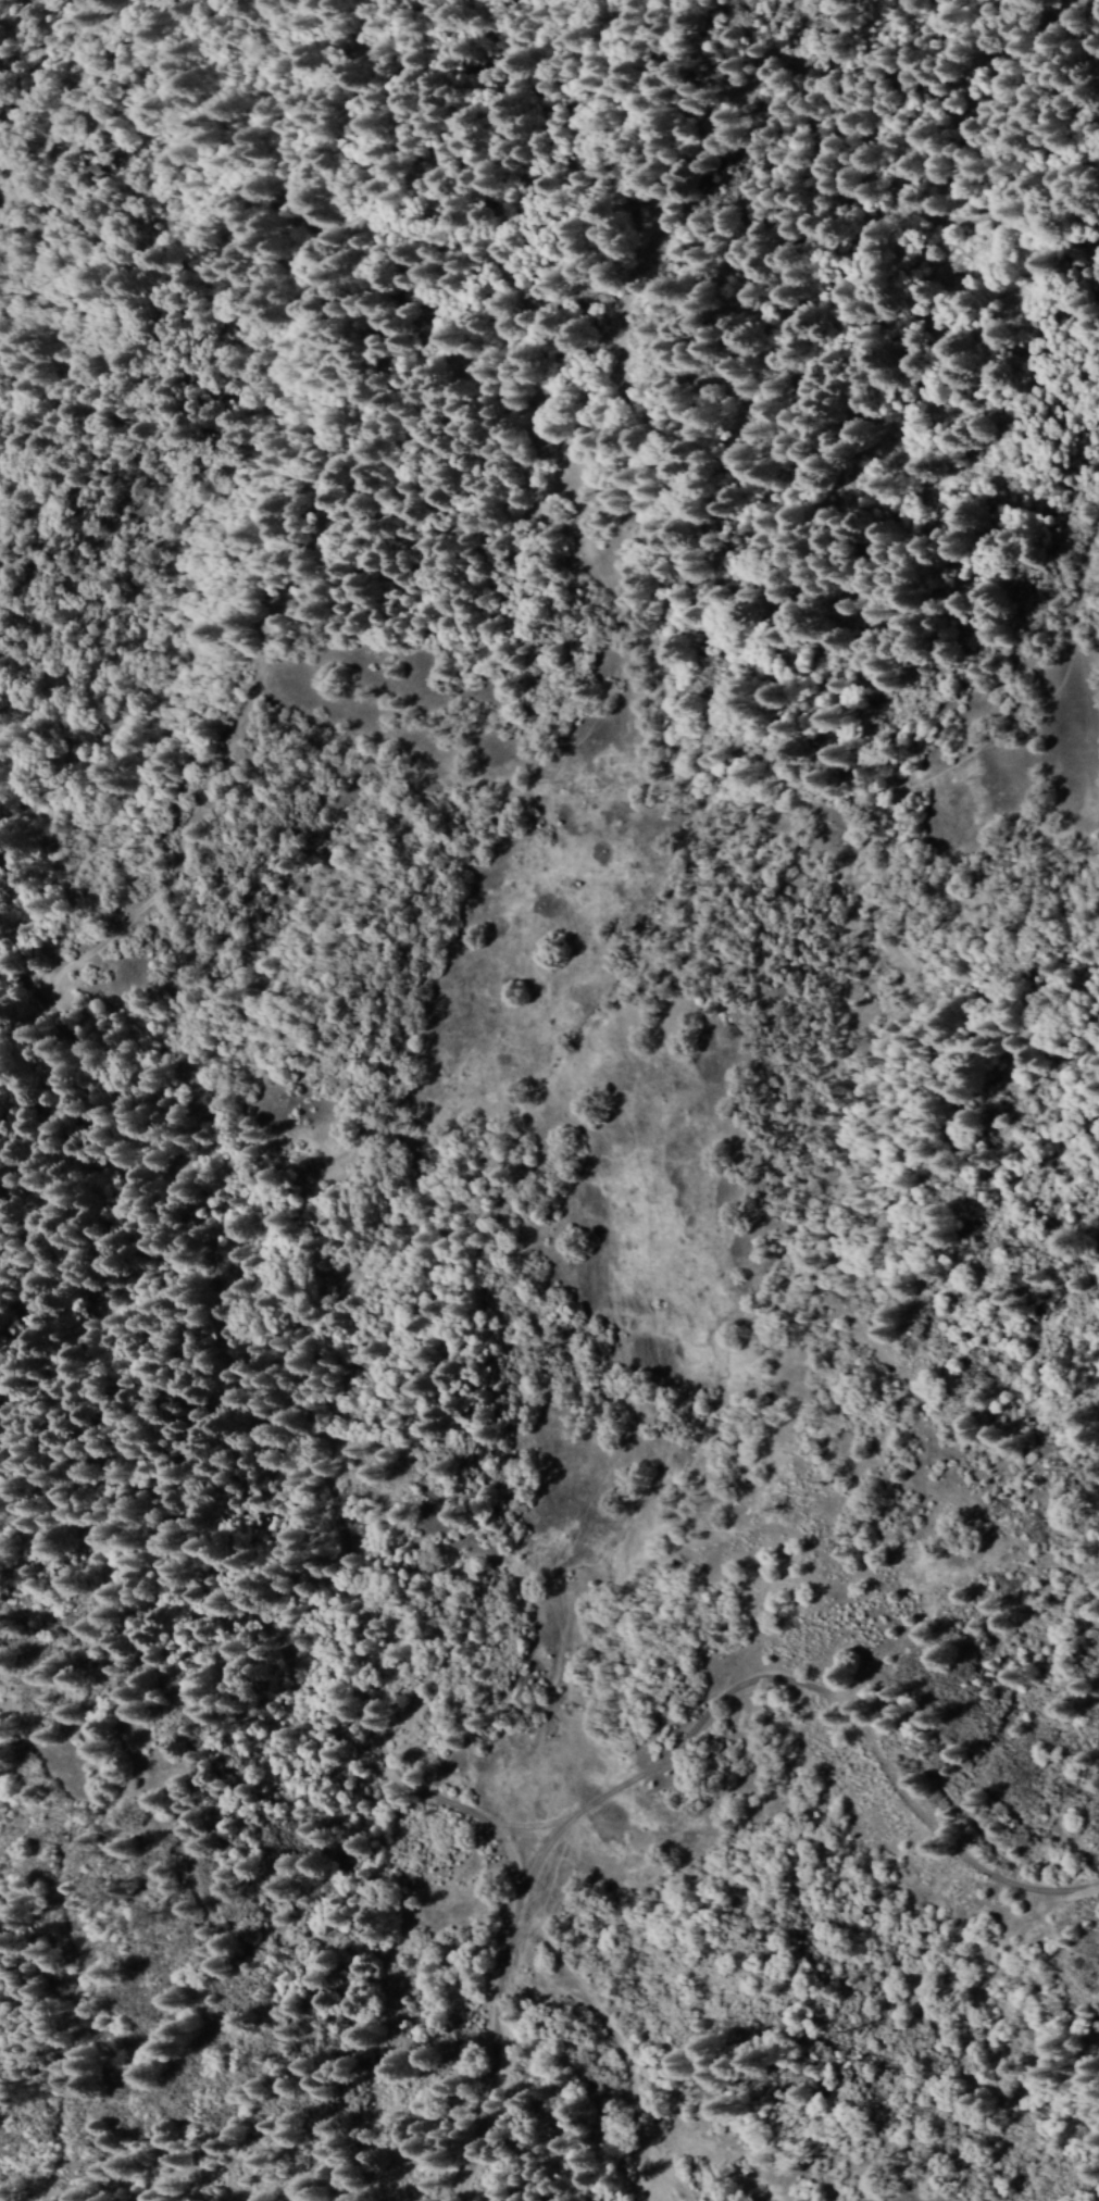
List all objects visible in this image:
road: (599, 393)
road: (273, 1433)
road: (682, 1748)

